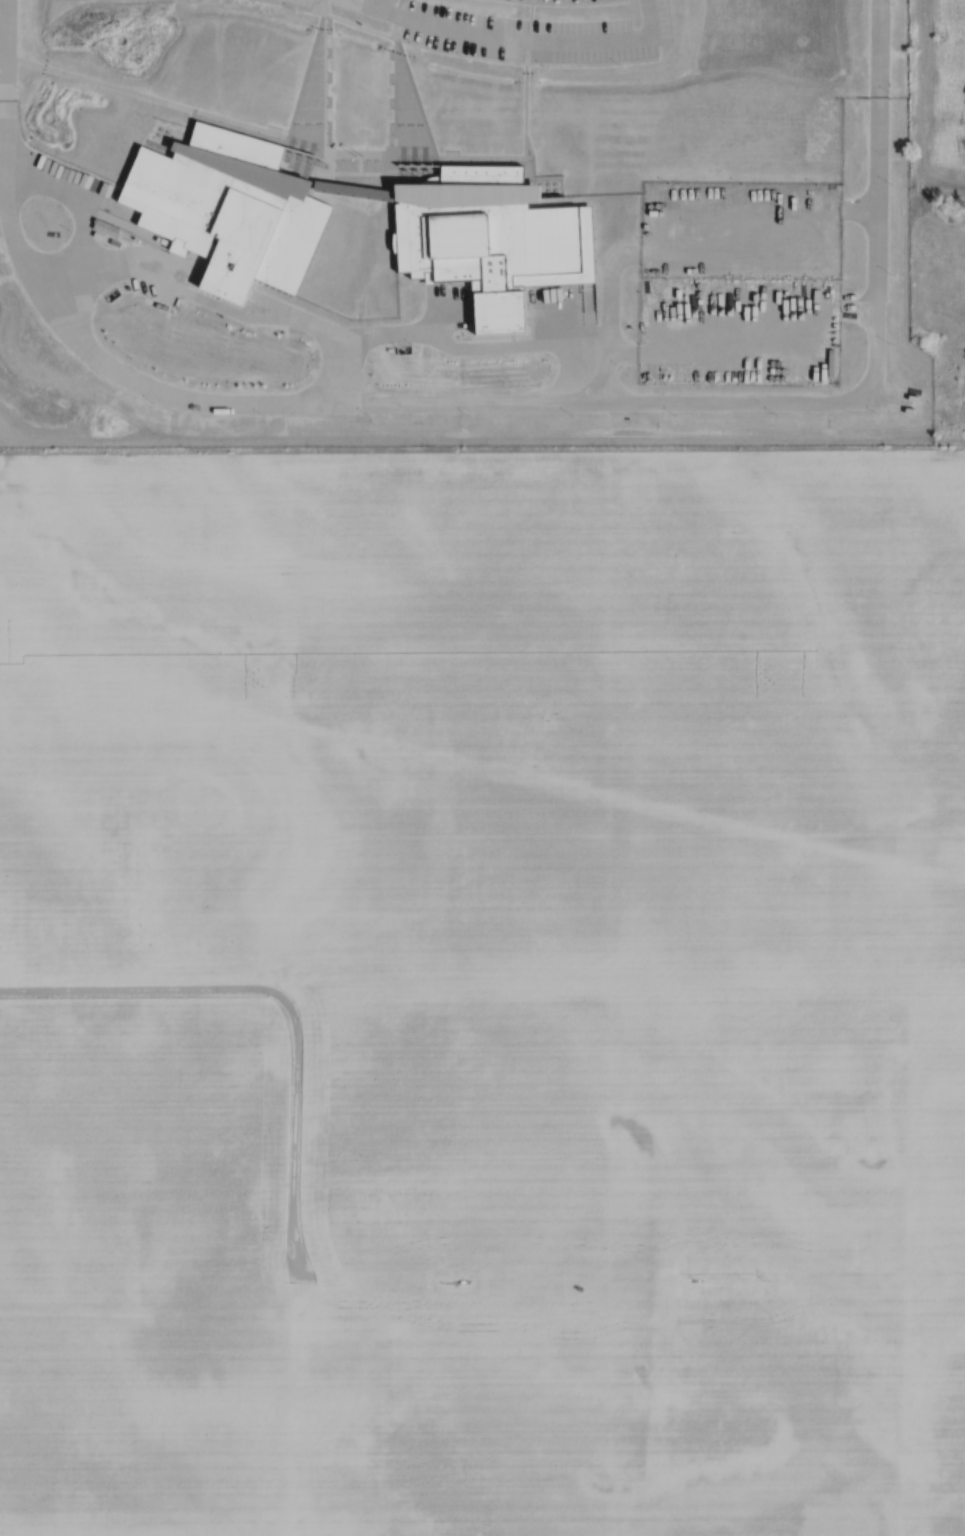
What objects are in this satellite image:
parking lot: (564, 0)
road: (377, 3)
parking lot: (297, 4)
road: (651, 14)
parking lot: (514, 35)
road: (1, 75)
building: (225, 202)
building: (499, 234)
road: (559, 397)

